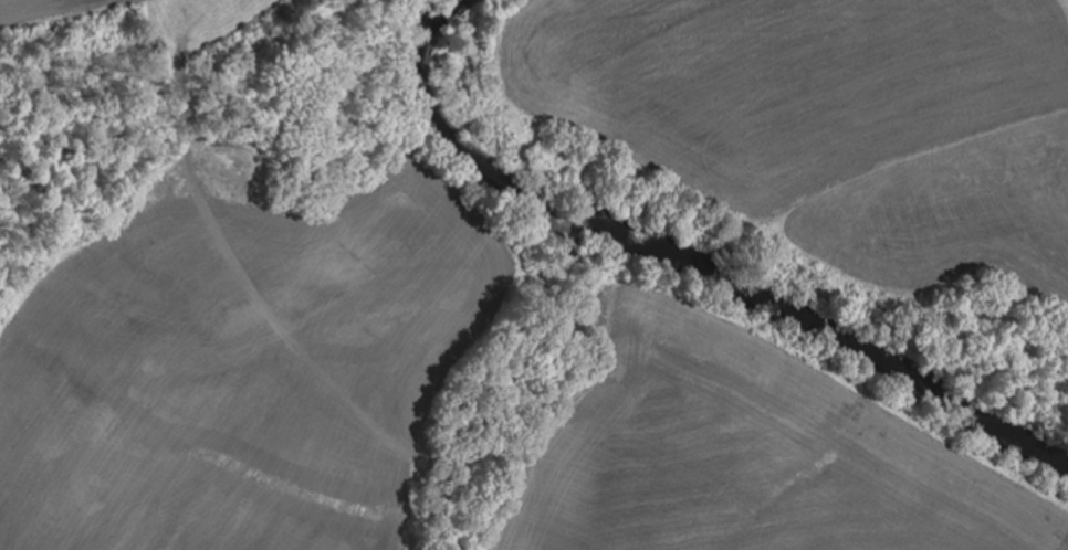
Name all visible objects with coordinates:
road: (50, 21)
river: (688, 253)

